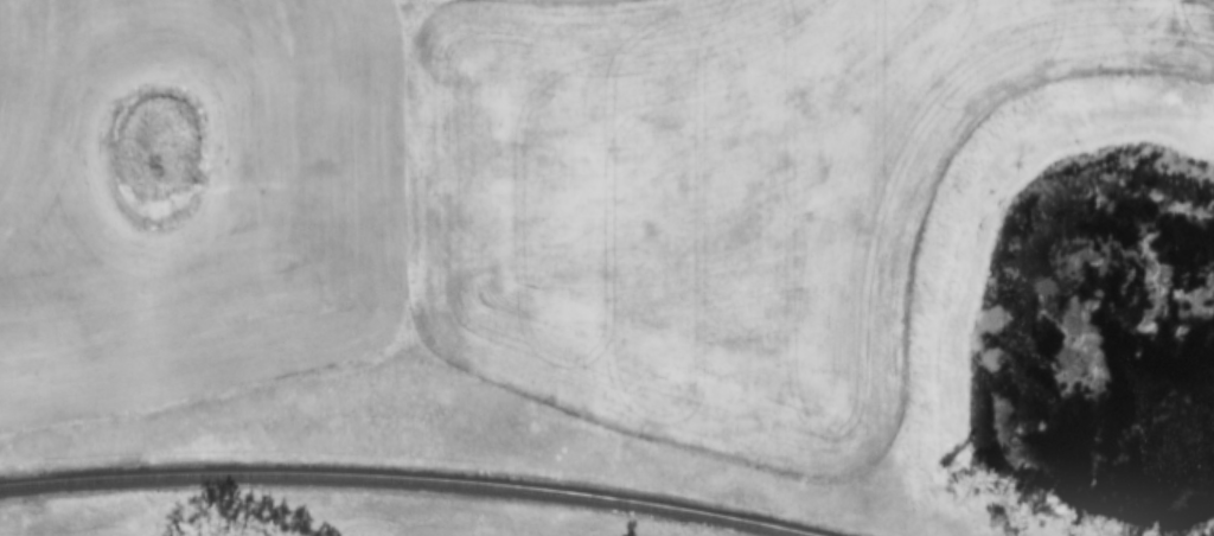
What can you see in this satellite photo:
railway: (410, 480)

